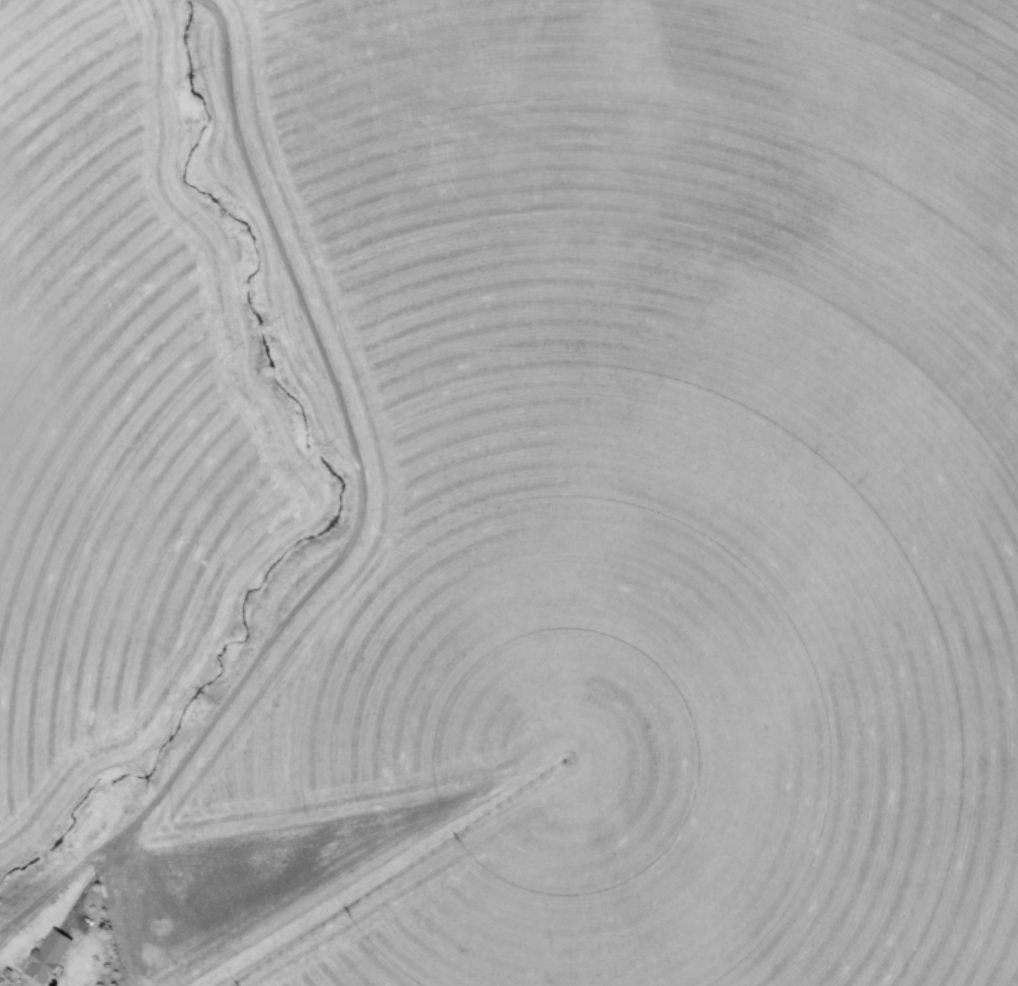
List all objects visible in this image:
road: (358, 507)
building: (44, 956)

